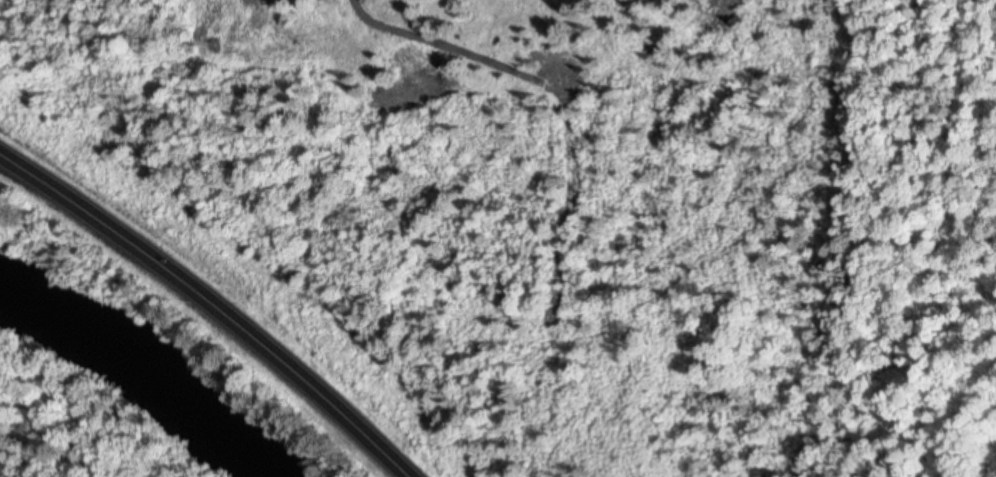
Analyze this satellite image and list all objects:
park: (937, 239)
road: (216, 301)
river: (151, 361)

